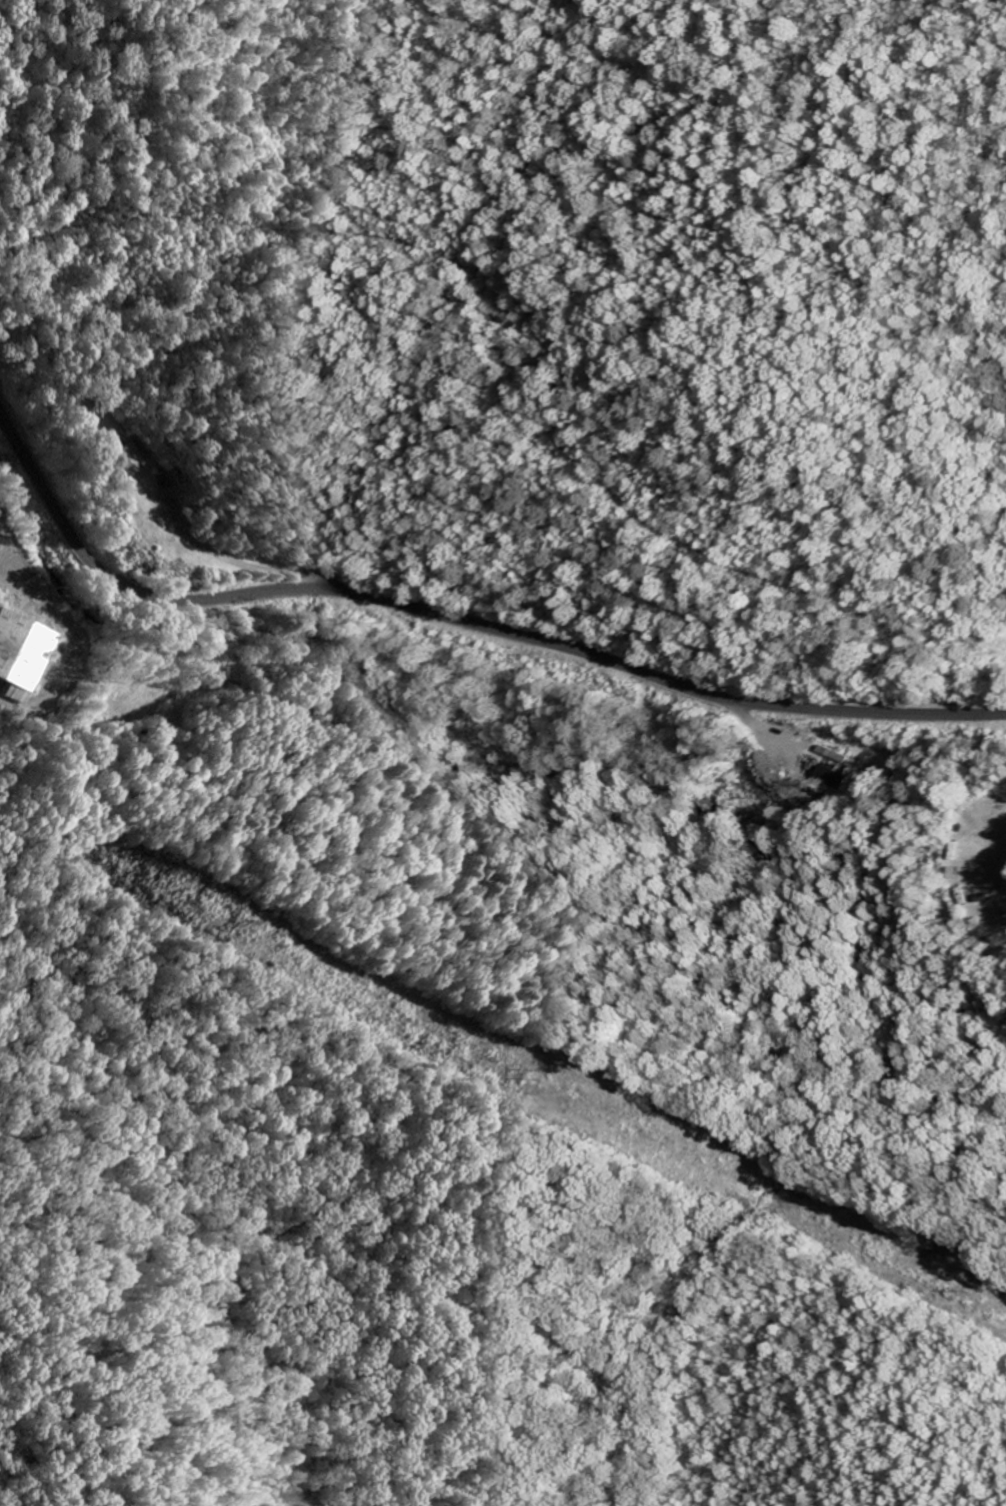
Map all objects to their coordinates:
building: (127, 460)
road: (236, 563)
road: (457, 627)
building: (23, 655)
road: (777, 733)

